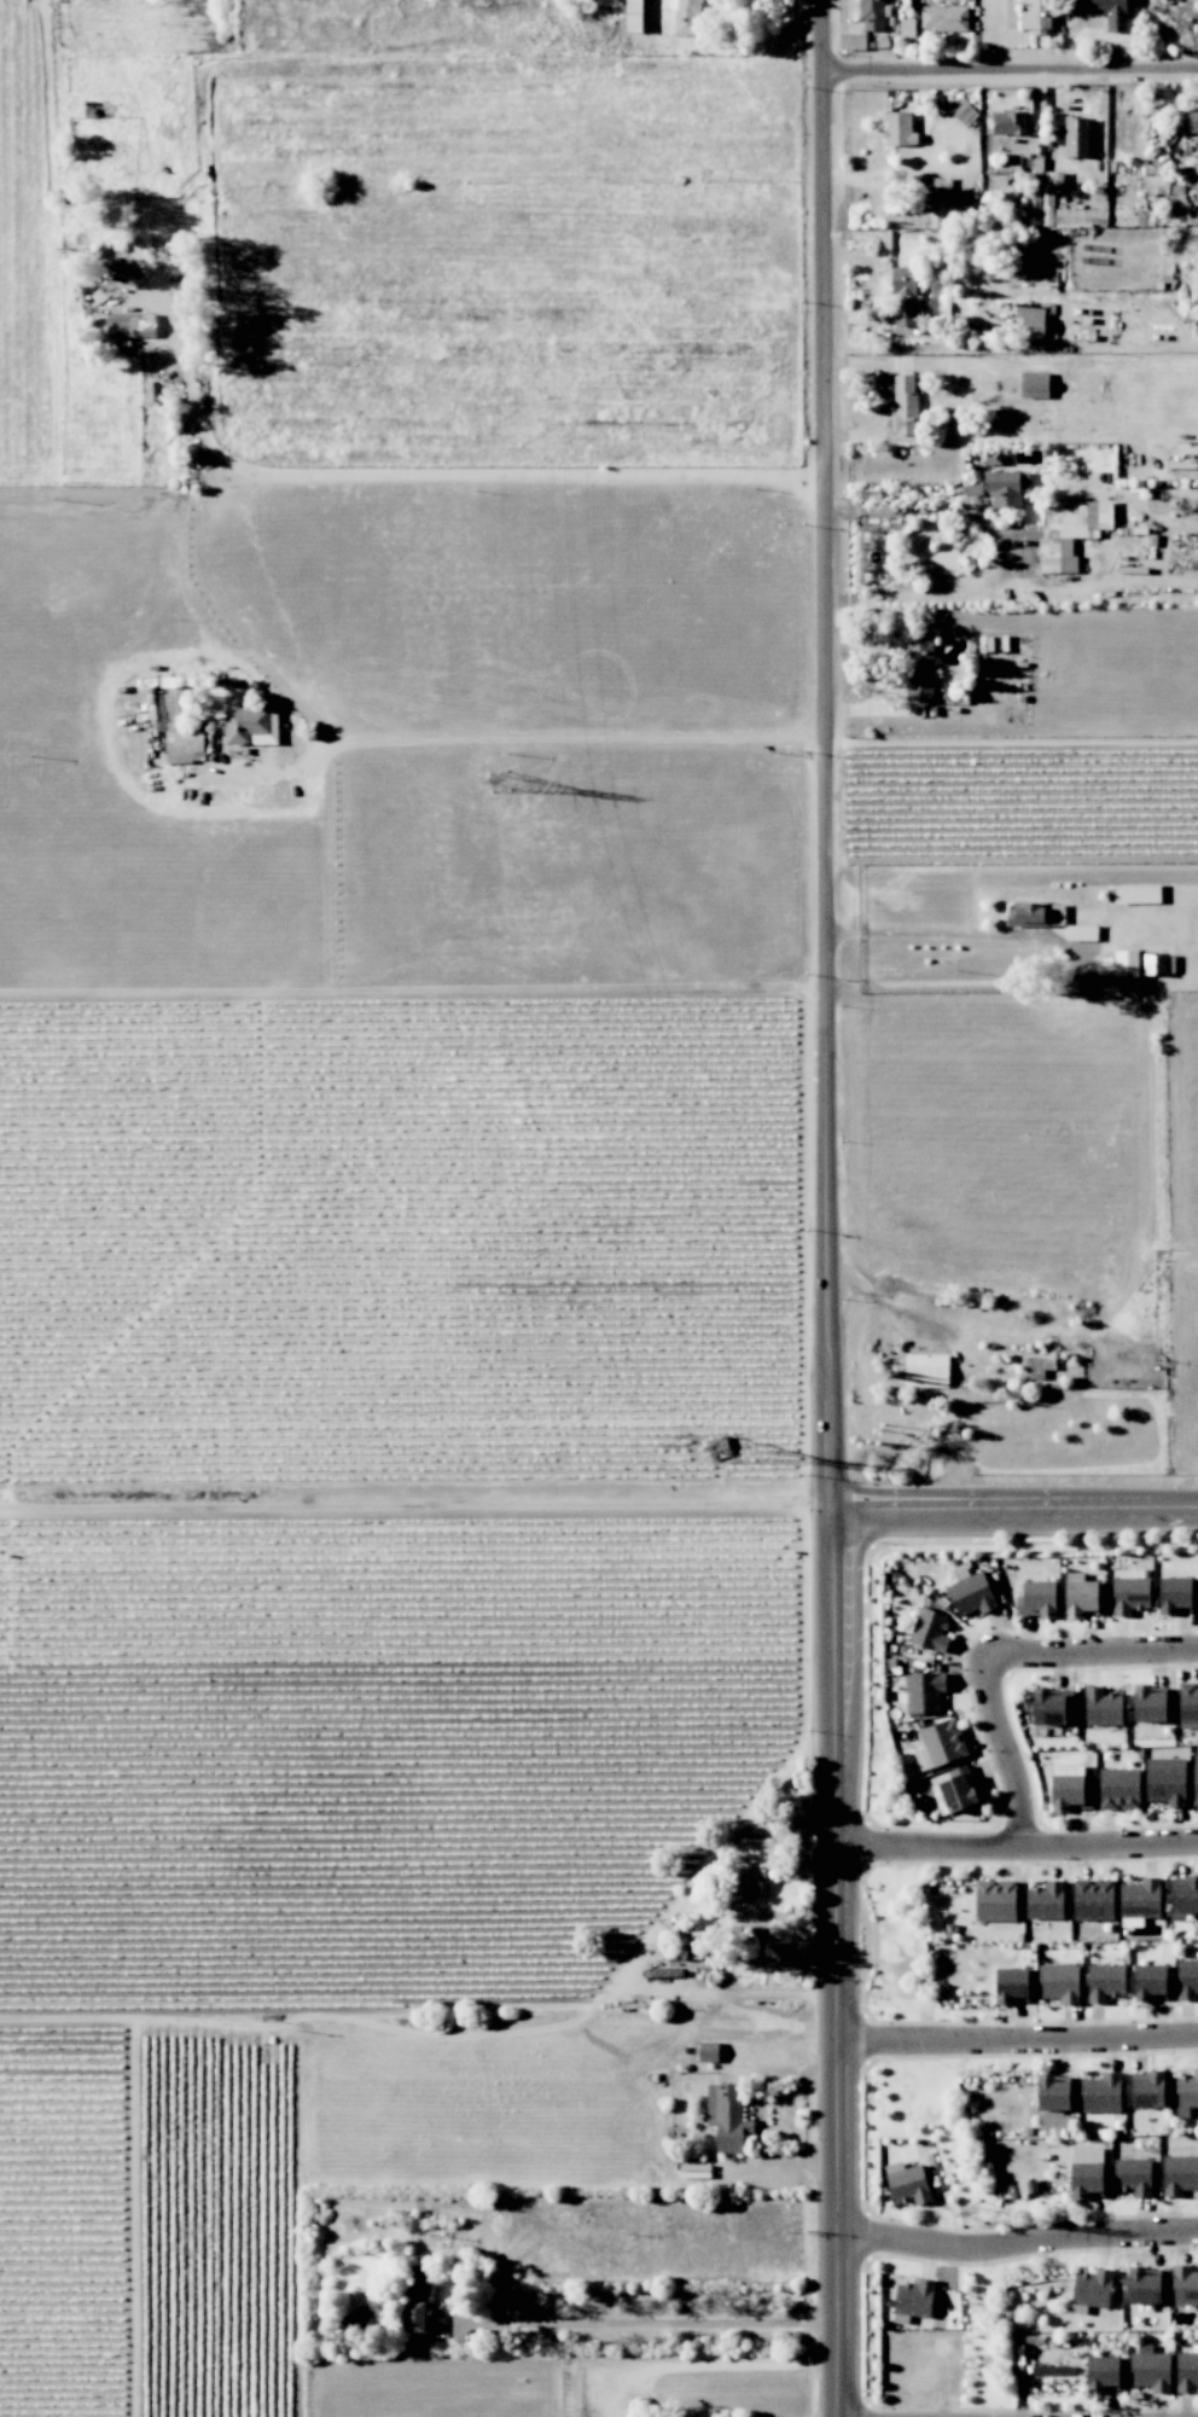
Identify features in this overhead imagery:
building: (1111, 13)
building: (871, 14)
building: (1035, 14)
building: (685, 16)
building: (944, 18)
building: (1197, 21)
building: (906, 28)
building: (853, 41)
road: (1011, 65)
building: (1191, 121)
building: (1008, 123)
building: (899, 129)
building: (1076, 136)
building: (935, 210)
building: (903, 296)
building: (1030, 321)
building: (133, 327)
building: (1034, 384)
building: (903, 403)
building: (990, 457)
road: (461, 473)
building: (1006, 487)
road: (941, 510)
building: (1069, 533)
road: (907, 592)
building: (919, 667)
building: (175, 724)
building: (251, 726)
road: (563, 739)
power tower: (498, 782)
building: (1136, 893)
building: (1036, 914)
building: (1081, 932)
building: (1144, 964)
road: (826, 1208)
crop: (403, 1251)
road: (909, 1313)
building: (1035, 1367)
building: (926, 1370)
power tower: (717, 1448)
road: (1013, 1507)
road: (413, 1511)
building: (971, 1594)
building: (1129, 1594)
building: (1175, 1596)
building: (1081, 1597)
building: (1036, 1599)
building: (930, 1629)
road: (1093, 1652)
building: (924, 1692)
building: (1148, 1706)
building: (1103, 1707)
building: (1049, 1708)
building: (943, 1742)
road: (1001, 1747)
building: (1196, 1779)
building: (1165, 1780)
building: (1069, 1789)
building: (1118, 1789)
building: (956, 1793)
road: (1014, 1840)
building: (748, 1881)
building: (1185, 1896)
building: (1140, 1899)
building: (995, 1900)
building: (1045, 1900)
building: (1093, 1900)
building: (697, 1945)
building: (1187, 1980)
building: (1150, 1981)
building: (1059, 1982)
building: (1105, 1982)
building: (1011, 1985)
road: (745, 1994)
road: (1016, 2040)
building: (708, 2051)
building: (1148, 2090)
building: (1100, 2093)
building: (1185, 2093)
building: (1053, 2103)
building: (726, 2116)
building: (1179, 2174)
building: (1133, 2177)
building: (1086, 2180)
building: (907, 2183)
power tower: (969, 2214)
road: (1016, 2244)
building: (1184, 2285)
building: (1144, 2287)
building: (1092, 2288)
building: (914, 2297)
building: (415, 2299)
road: (641, 2322)
road: (697, 2364)
building: (1150, 2369)
building: (1186, 2371)
building: (1103, 2374)

